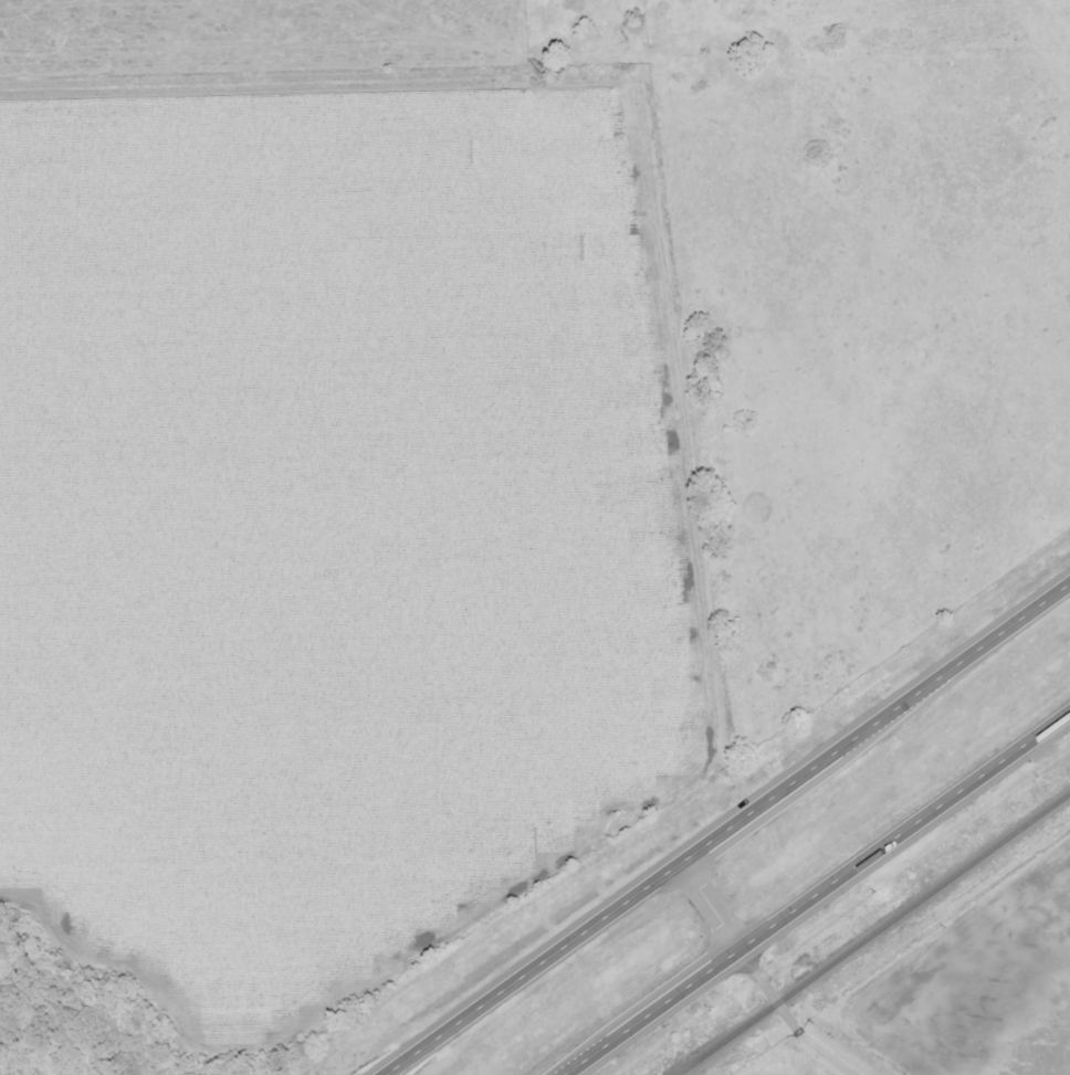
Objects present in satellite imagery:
road: (725, 831)
road: (819, 899)
railway: (871, 931)
road: (722, 934)
road: (814, 1041)

